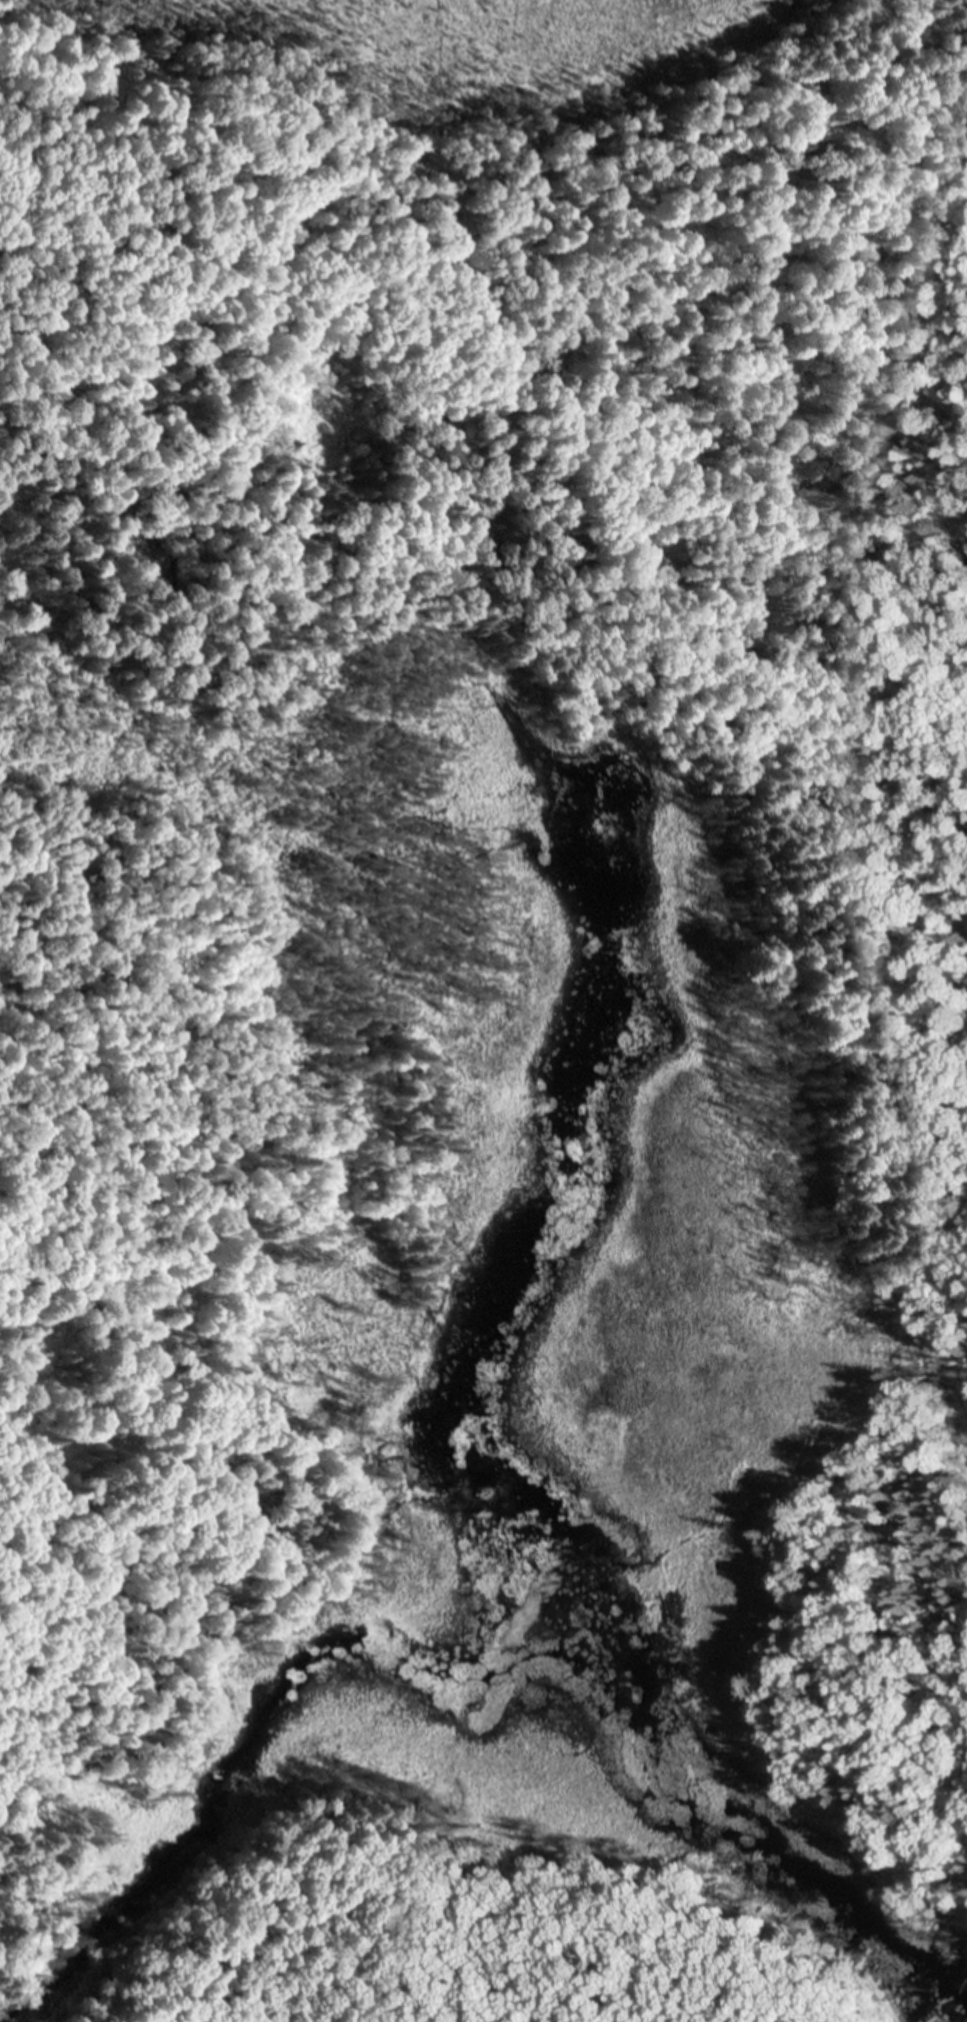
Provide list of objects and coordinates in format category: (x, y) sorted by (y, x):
river: (773, 1881)

